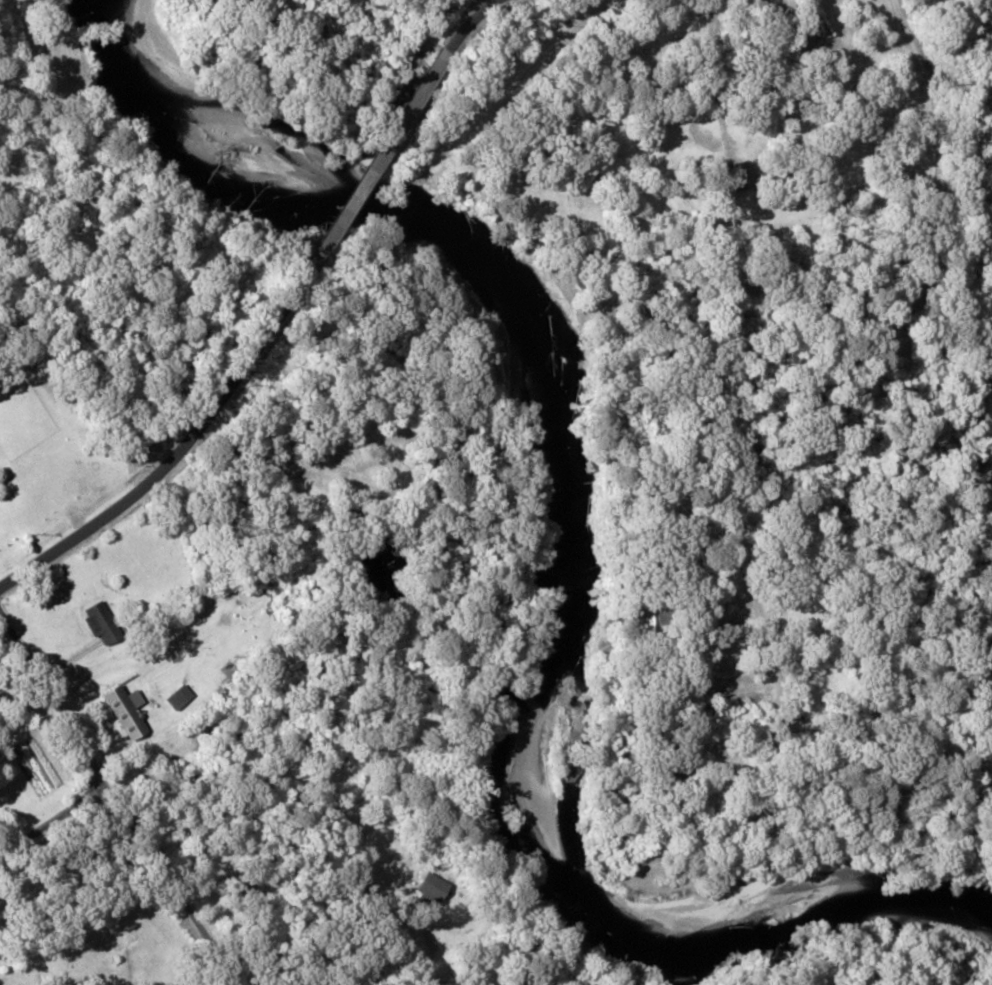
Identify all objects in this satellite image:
road: (471, 23)
road: (384, 156)
building: (739, 176)
road: (228, 393)
road: (59, 547)
building: (103, 623)
building: (180, 697)
building: (128, 711)
road: (118, 803)
road: (52, 819)
building: (433, 887)

